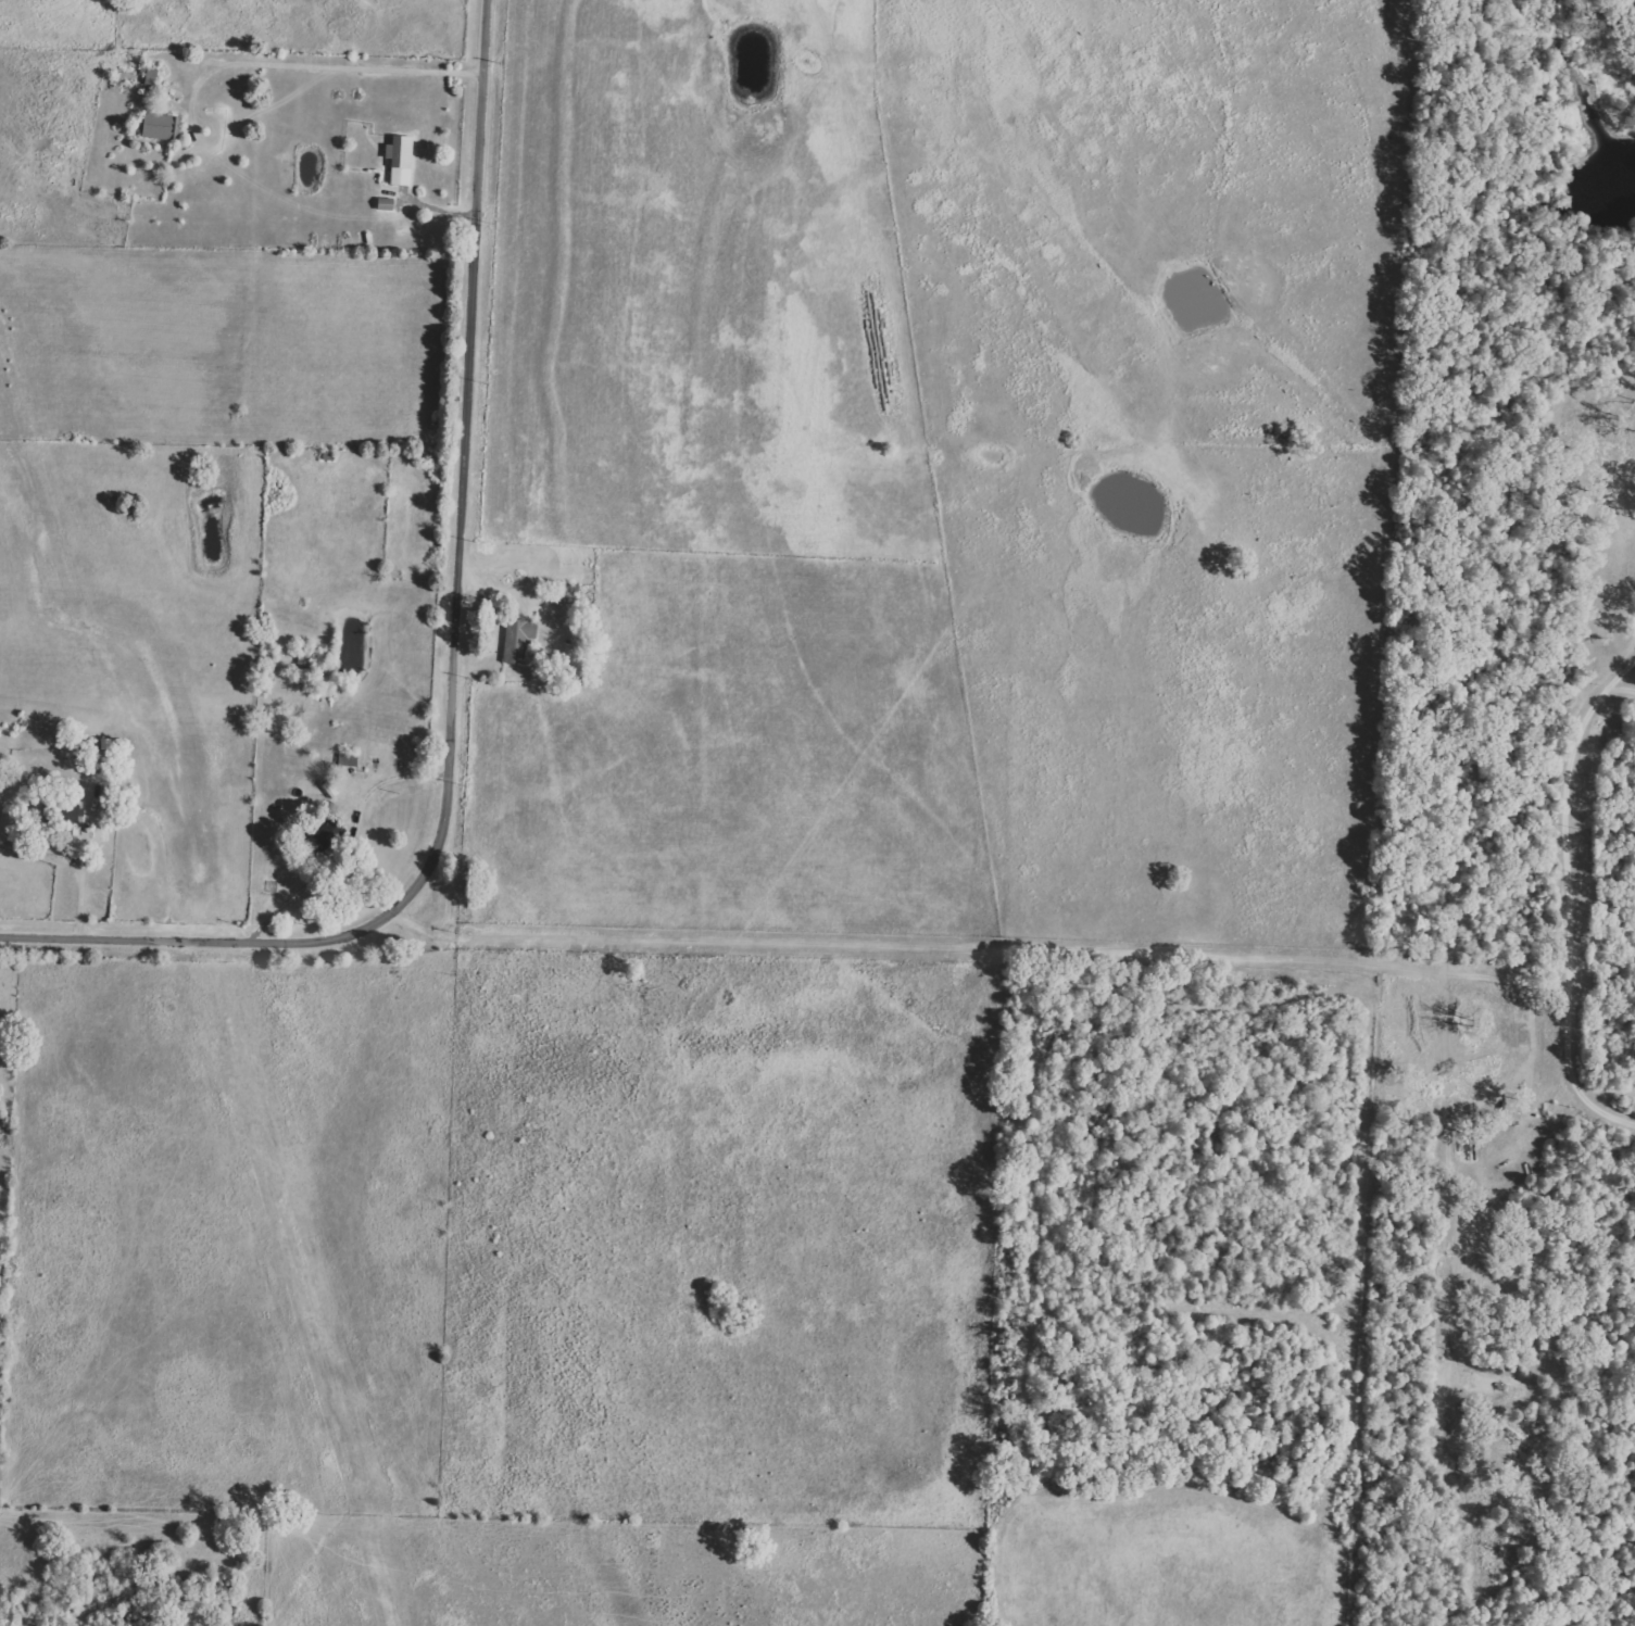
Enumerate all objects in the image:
road: (335, 62)
building: (149, 77)
building: (161, 126)
building: (401, 159)
road: (255, 214)
building: (518, 639)
road: (452, 664)
building: (71, 815)
road: (352, 841)
road: (83, 878)
road: (1572, 895)
road: (980, 951)

